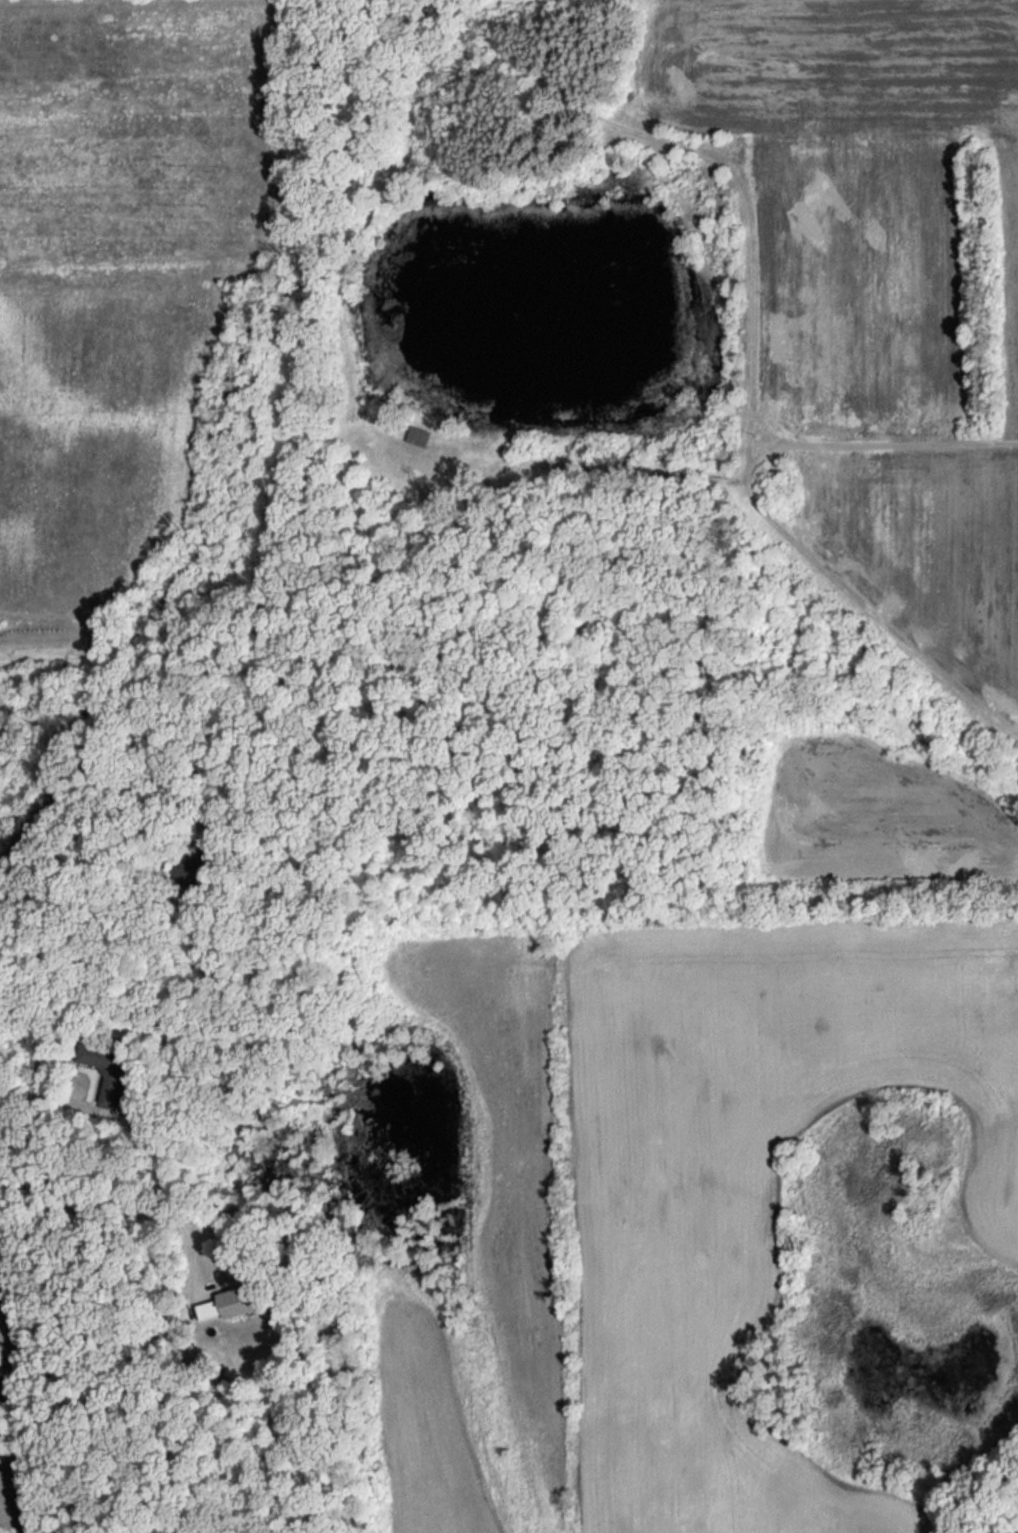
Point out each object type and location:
building: (417, 435)
road: (101, 854)
building: (188, 872)
road: (39, 1038)
building: (110, 1070)
road: (126, 1203)
building: (231, 1303)

